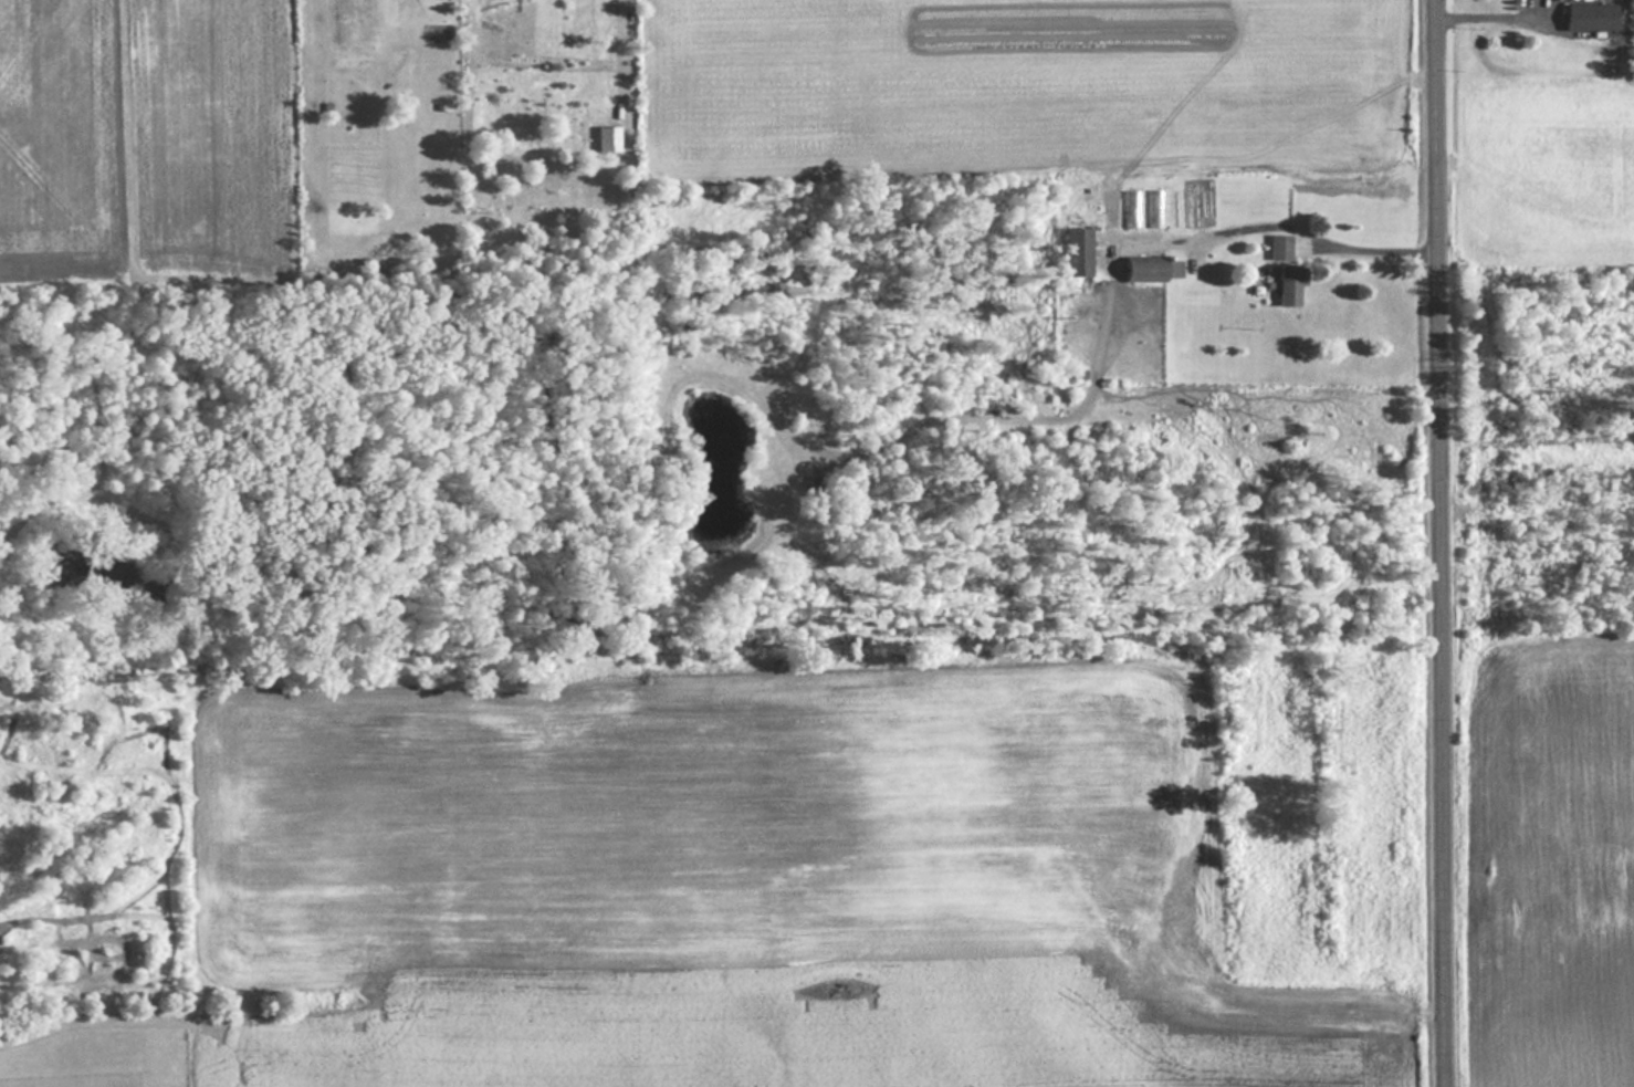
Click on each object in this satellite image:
building: (1590, 17)
building: (1109, 209)
building: (1131, 209)
building: (1154, 209)
building: (1279, 247)
building: (1077, 252)
building: (1152, 269)
building: (1289, 284)
road: (1438, 543)

